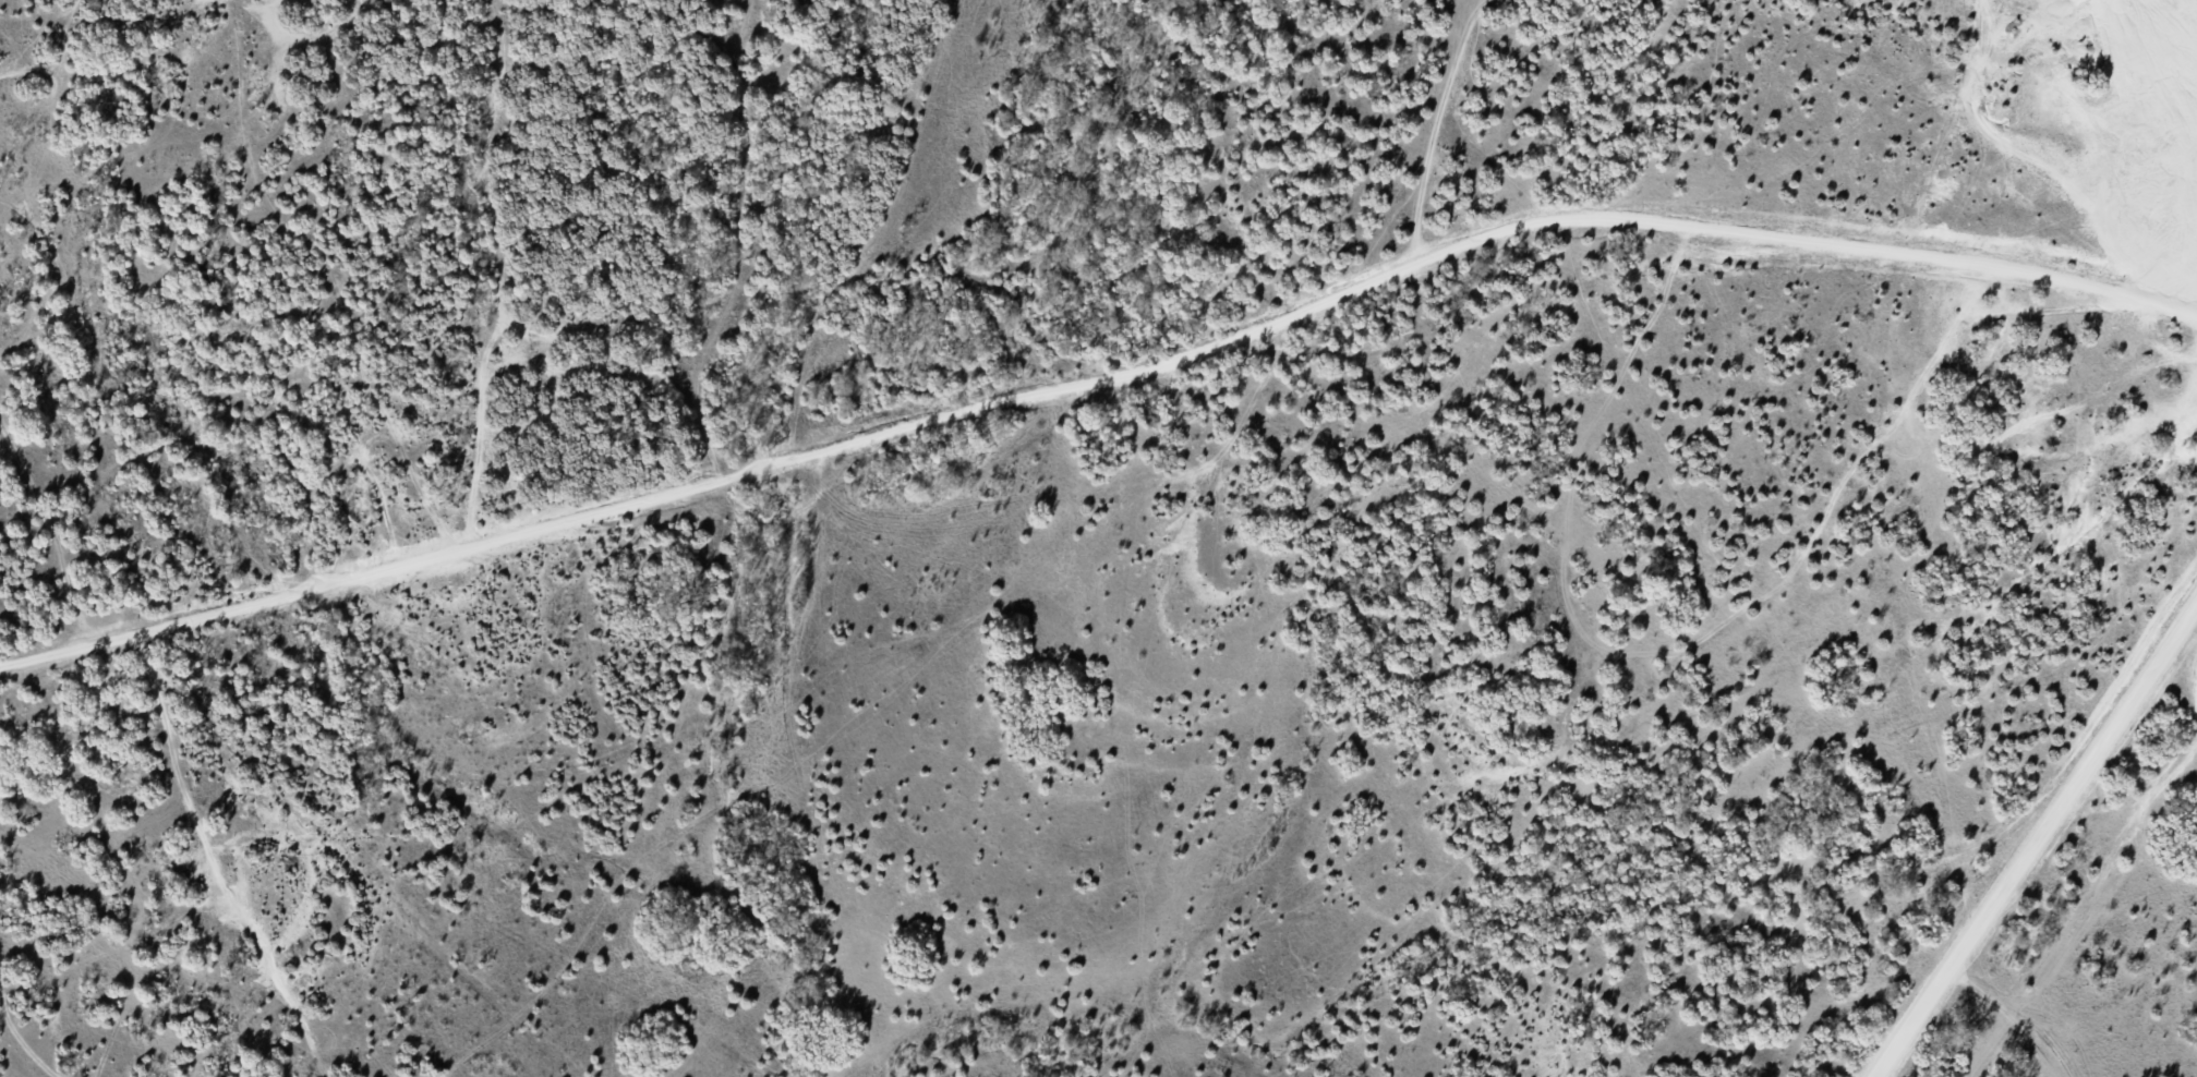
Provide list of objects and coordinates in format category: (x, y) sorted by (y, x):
road: (2035, 837)

